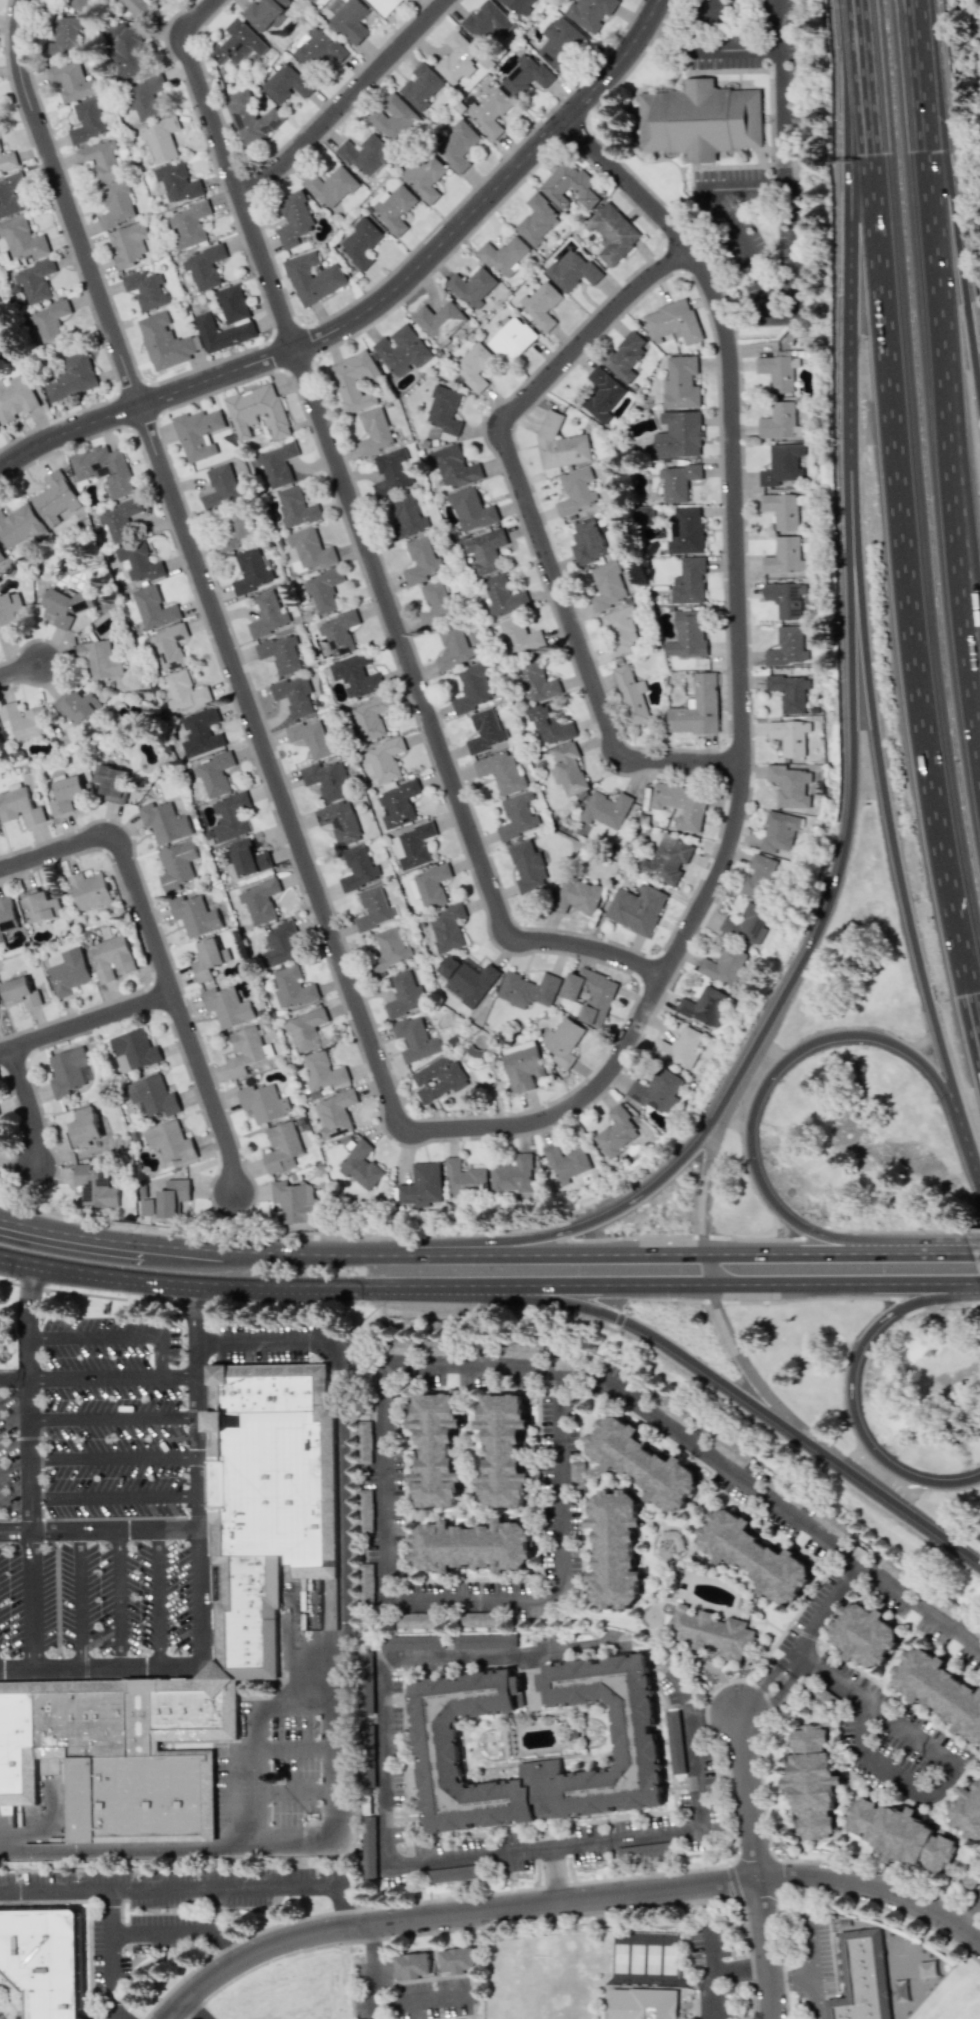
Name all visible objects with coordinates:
building: (161, 0)
building: (302, 3)
building: (77, 4)
building: (385, 5)
building: (519, 5)
building: (138, 8)
building: (265, 13)
building: (590, 13)
building: (351, 20)
building: (486, 21)
building: (64, 37)
building: (561, 42)
building: (237, 43)
building: (318, 48)
road: (697, 48)
building: (126, 49)
road: (740, 50)
building: (456, 56)
building: (525, 76)
building: (72, 80)
building: (287, 82)
building: (421, 86)
road: (780, 90)
road: (919, 92)
building: (146, 97)
road: (347, 101)
building: (491, 112)
building: (252, 117)
building: (394, 117)
building: (88, 120)
building: (700, 120)
building: (160, 139)
building: (457, 146)
building: (366, 155)
building: (7, 160)
building: (100, 160)
building: (425, 175)
building: (177, 181)
building: (331, 186)
building: (571, 186)
building: (10, 194)
road: (842, 201)
building: (116, 204)
building: (394, 208)
road: (947, 210)
building: (294, 219)
building: (537, 220)
building: (189, 224)
building: (613, 233)
building: (22, 238)
building: (360, 242)
building: (131, 244)
building: (504, 255)
building: (204, 266)
building: (571, 270)
building: (312, 277)
building: (35, 280)
building: (473, 287)
road: (753, 287)
building: (146, 289)
road: (377, 301)
building: (232, 303)
building: (541, 304)
building: (0, 318)
building: (49, 321)
building: (440, 321)
building: (672, 322)
building: (223, 333)
building: (512, 339)
building: (164, 341)
building: (402, 350)
building: (625, 355)
building: (474, 367)
building: (775, 372)
building: (70, 377)
building: (354, 381)
building: (680, 383)
road: (952, 388)
building: (602, 394)
building: (16, 398)
building: (444, 410)
building: (257, 411)
building: (778, 422)
building: (375, 432)
building: (198, 433)
building: (678, 435)
building: (559, 444)
building: (277, 463)
building: (781, 464)
building: (455, 467)
building: (104, 469)
building: (393, 472)
building: (677, 481)
building: (221, 487)
building: (576, 491)
road: (945, 495)
building: (56, 499)
road: (902, 506)
building: (295, 507)
building: (471, 509)
building: (780, 510)
building: (642, 515)
building: (407, 517)
building: (120, 519)
building: (20, 525)
road: (532, 527)
building: (234, 530)
building: (685, 530)
road: (365, 539)
building: (587, 541)
building: (311, 549)
building: (487, 551)
building: (1, 556)
building: (784, 556)
building: (421, 560)
building: (140, 562)
road: (198, 569)
building: (251, 571)
building: (689, 581)
building: (608, 585)
building: (323, 589)
building: (504, 596)
building: (784, 598)
building: (435, 603)
building: (66, 605)
building: (154, 608)
building: (9, 610)
building: (268, 613)
building: (620, 631)
building: (339, 632)
building: (687, 634)
building: (520, 636)
building: (169, 647)
building: (453, 647)
building: (789, 648)
building: (281, 653)
building: (99, 659)
road: (21, 671)
building: (355, 675)
building: (536, 682)
building: (472, 688)
building: (184, 691)
building: (790, 692)
road: (742, 693)
building: (631, 694)
building: (294, 695)
building: (81, 706)
building: (696, 708)
building: (370, 717)
building: (25, 720)
building: (550, 724)
building: (485, 731)
building: (201, 732)
building: (789, 736)
building: (0, 738)
building: (310, 738)
building: (333, 740)
building: (385, 758)
building: (568, 769)
building: (501, 772)
building: (214, 774)
building: (327, 779)
building: (112, 783)
building: (789, 785)
road: (883, 785)
building: (66, 794)
building: (399, 803)
building: (680, 805)
building: (19, 807)
building: (606, 809)
building: (230, 816)
building: (518, 816)
building: (164, 822)
building: (340, 822)
building: (778, 832)
building: (413, 846)
building: (247, 857)
road: (123, 859)
building: (667, 859)
building: (176, 865)
building: (528, 865)
building: (358, 868)
building: (759, 876)
building: (430, 886)
building: (89, 890)
building: (576, 895)
road: (829, 899)
building: (259, 900)
building: (40, 906)
building: (636, 908)
building: (374, 909)
building: (194, 915)
building: (7, 916)
building: (747, 923)
building: (447, 927)
building: (280, 944)
building: (390, 949)
building: (110, 958)
building: (208, 958)
building: (723, 965)
building: (69, 972)
building: (468, 978)
building: (292, 987)
building: (527, 989)
building: (20, 992)
building: (405, 994)
building: (590, 994)
building: (227, 1006)
building: (704, 1006)
road: (87, 1022)
building: (305, 1028)
building: (416, 1039)
building: (562, 1041)
building: (679, 1048)
building: (134, 1050)
building: (244, 1050)
building: (522, 1065)
road: (777, 1066)
building: (322, 1071)
building: (70, 1073)
building: (438, 1079)
road: (209, 1090)
building: (657, 1090)
building: (152, 1096)
building: (261, 1102)
road: (30, 1105)
building: (335, 1114)
building: (83, 1127)
building: (616, 1131)
building: (170, 1141)
building: (281, 1147)
building: (566, 1163)
building: (360, 1166)
road: (977, 1168)
road: (705, 1170)
building: (512, 1175)
building: (464, 1178)
building: (422, 1185)
building: (95, 1187)
building: (173, 1198)
building: (294, 1202)
road: (793, 1244)
road: (350, 1245)
road: (926, 1245)
road: (974, 1245)
road: (706, 1263)
road: (979, 1279)
road: (225, 1281)
road: (844, 1281)
road: (581, 1284)
road: (307, 1303)
building: (1, 1323)
road: (92, 1336)
road: (259, 1342)
parking lot: (274, 1342)
road: (160, 1356)
road: (5, 1369)
road: (748, 1369)
road: (112, 1379)
road: (13, 1381)
road: (850, 1387)
road: (732, 1389)
road: (532, 1390)
road: (641, 1411)
parking lot: (111, 1417)
road: (112, 1418)
building: (363, 1441)
building: (435, 1449)
building: (502, 1450)
building: (730, 1450)
parking lot: (10, 1455)
road: (113, 1458)
building: (641, 1463)
road: (28, 1464)
road: (198, 1473)
building: (577, 1476)
road: (559, 1481)
road: (389, 1484)
road: (113, 1496)
building: (365, 1511)
road: (344, 1516)
road: (62, 1519)
building: (832, 1523)
road: (99, 1530)
building: (471, 1546)
building: (614, 1548)
building: (754, 1555)
building: (365, 1580)
road: (846, 1580)
road: (475, 1596)
road: (157, 1598)
parking lot: (116, 1599)
road: (119, 1599)
road: (78, 1600)
parking lot: (11, 1601)
building: (480, 1619)
building: (417, 1620)
building: (251, 1628)
building: (712, 1632)
building: (864, 1634)
building: (485, 1641)
road: (502, 1653)
road: (102, 1668)
building: (366, 1682)
road: (783, 1688)
building: (940, 1691)
road: (684, 1693)
road: (868, 1708)
road: (716, 1715)
road: (330, 1736)
building: (674, 1742)
building: (636, 1744)
road: (234, 1749)
road: (383, 1759)
road: (696, 1768)
road: (261, 1771)
road: (889, 1772)
building: (813, 1781)
road: (750, 1796)
building: (968, 1812)
building: (899, 1833)
road: (280, 1836)
road: (546, 1846)
road: (117, 1847)
building: (368, 1847)
building: (642, 1851)
road: (732, 1859)
building: (446, 1874)
road: (553, 1875)
building: (970, 1877)
road: (877, 1887)
road: (188, 1888)
road: (825, 1892)
road: (969, 1913)
road: (452, 1916)
road: (511, 1923)
road: (185, 1932)
road: (767, 1949)
road: (711, 1953)
road: (111, 1954)
road: (434, 1955)
building: (44, 1960)
building: (457, 1960)
building: (412, 1965)
road: (741, 1968)
road: (812, 1969)
road: (372, 1973)
road: (468, 1974)
building: (862, 1977)
road: (713, 1995)
road: (425, 2000)
road: (814, 2000)
building: (644, 2005)
road: (190, 2011)

